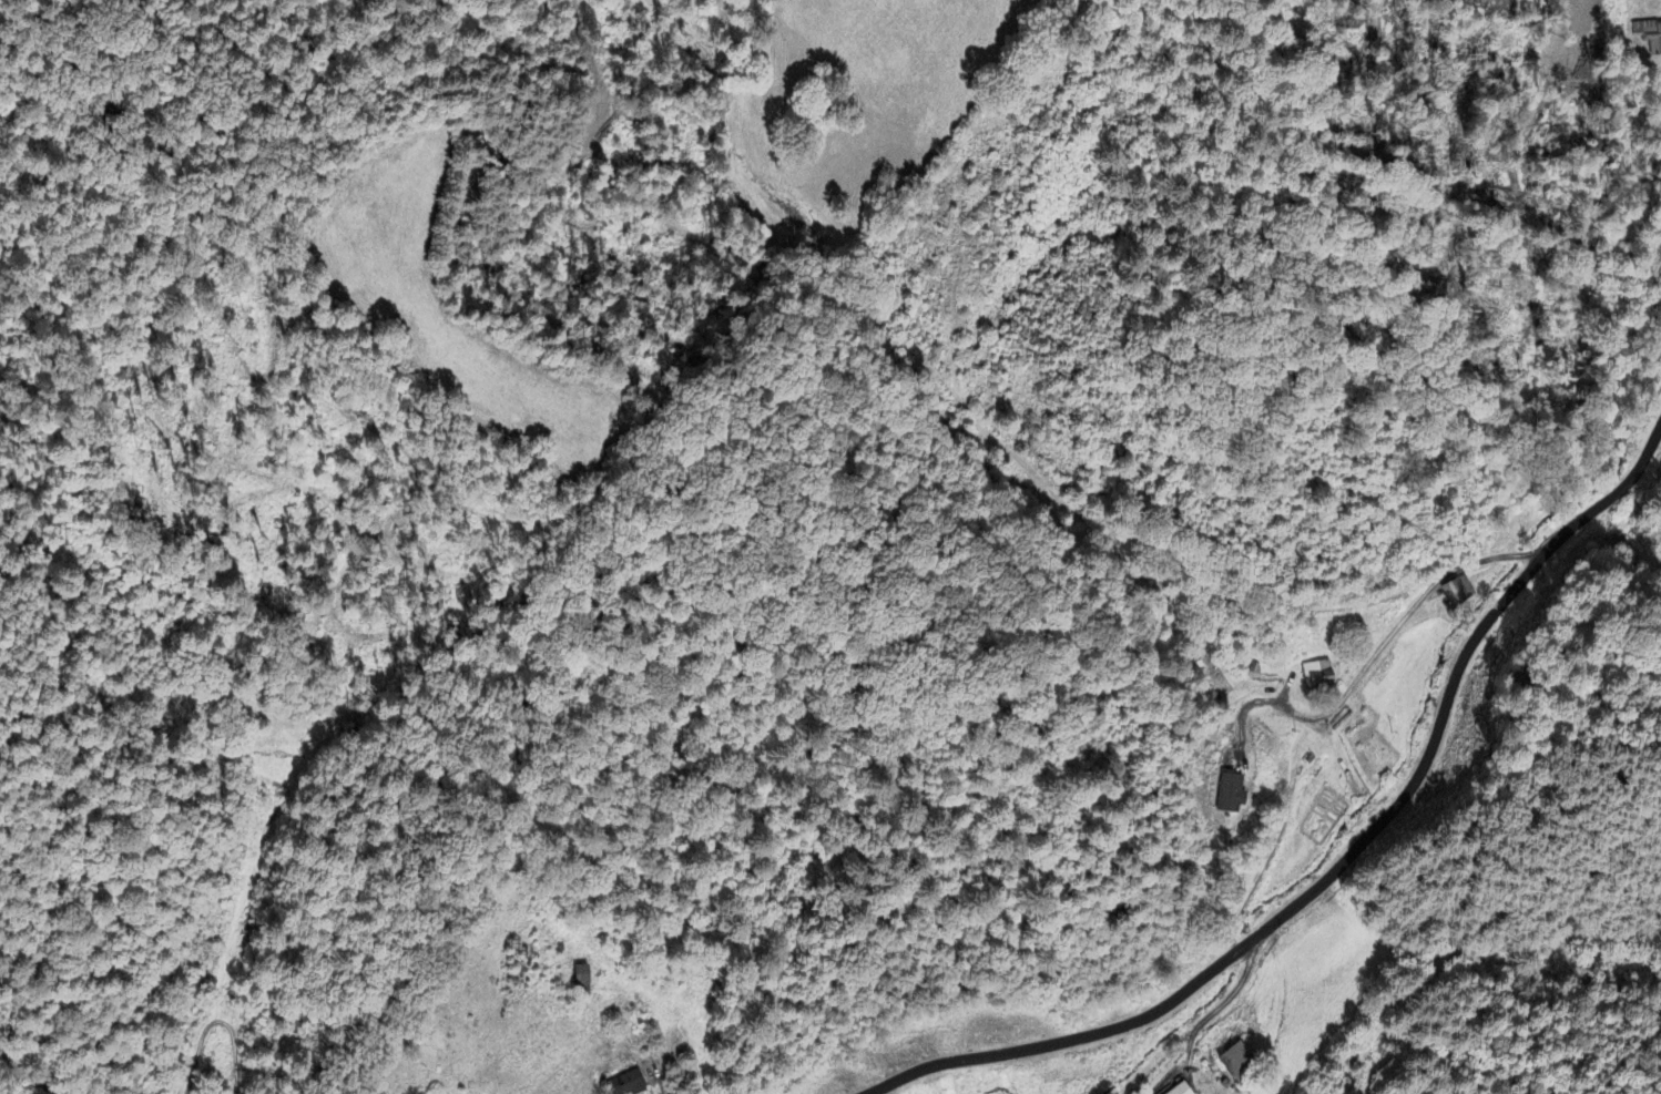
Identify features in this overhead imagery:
building: (1456, 596)
building: (1319, 675)
road: (1346, 862)
building: (587, 981)
building: (1241, 1065)
building: (629, 1084)
building: (1181, 1090)

